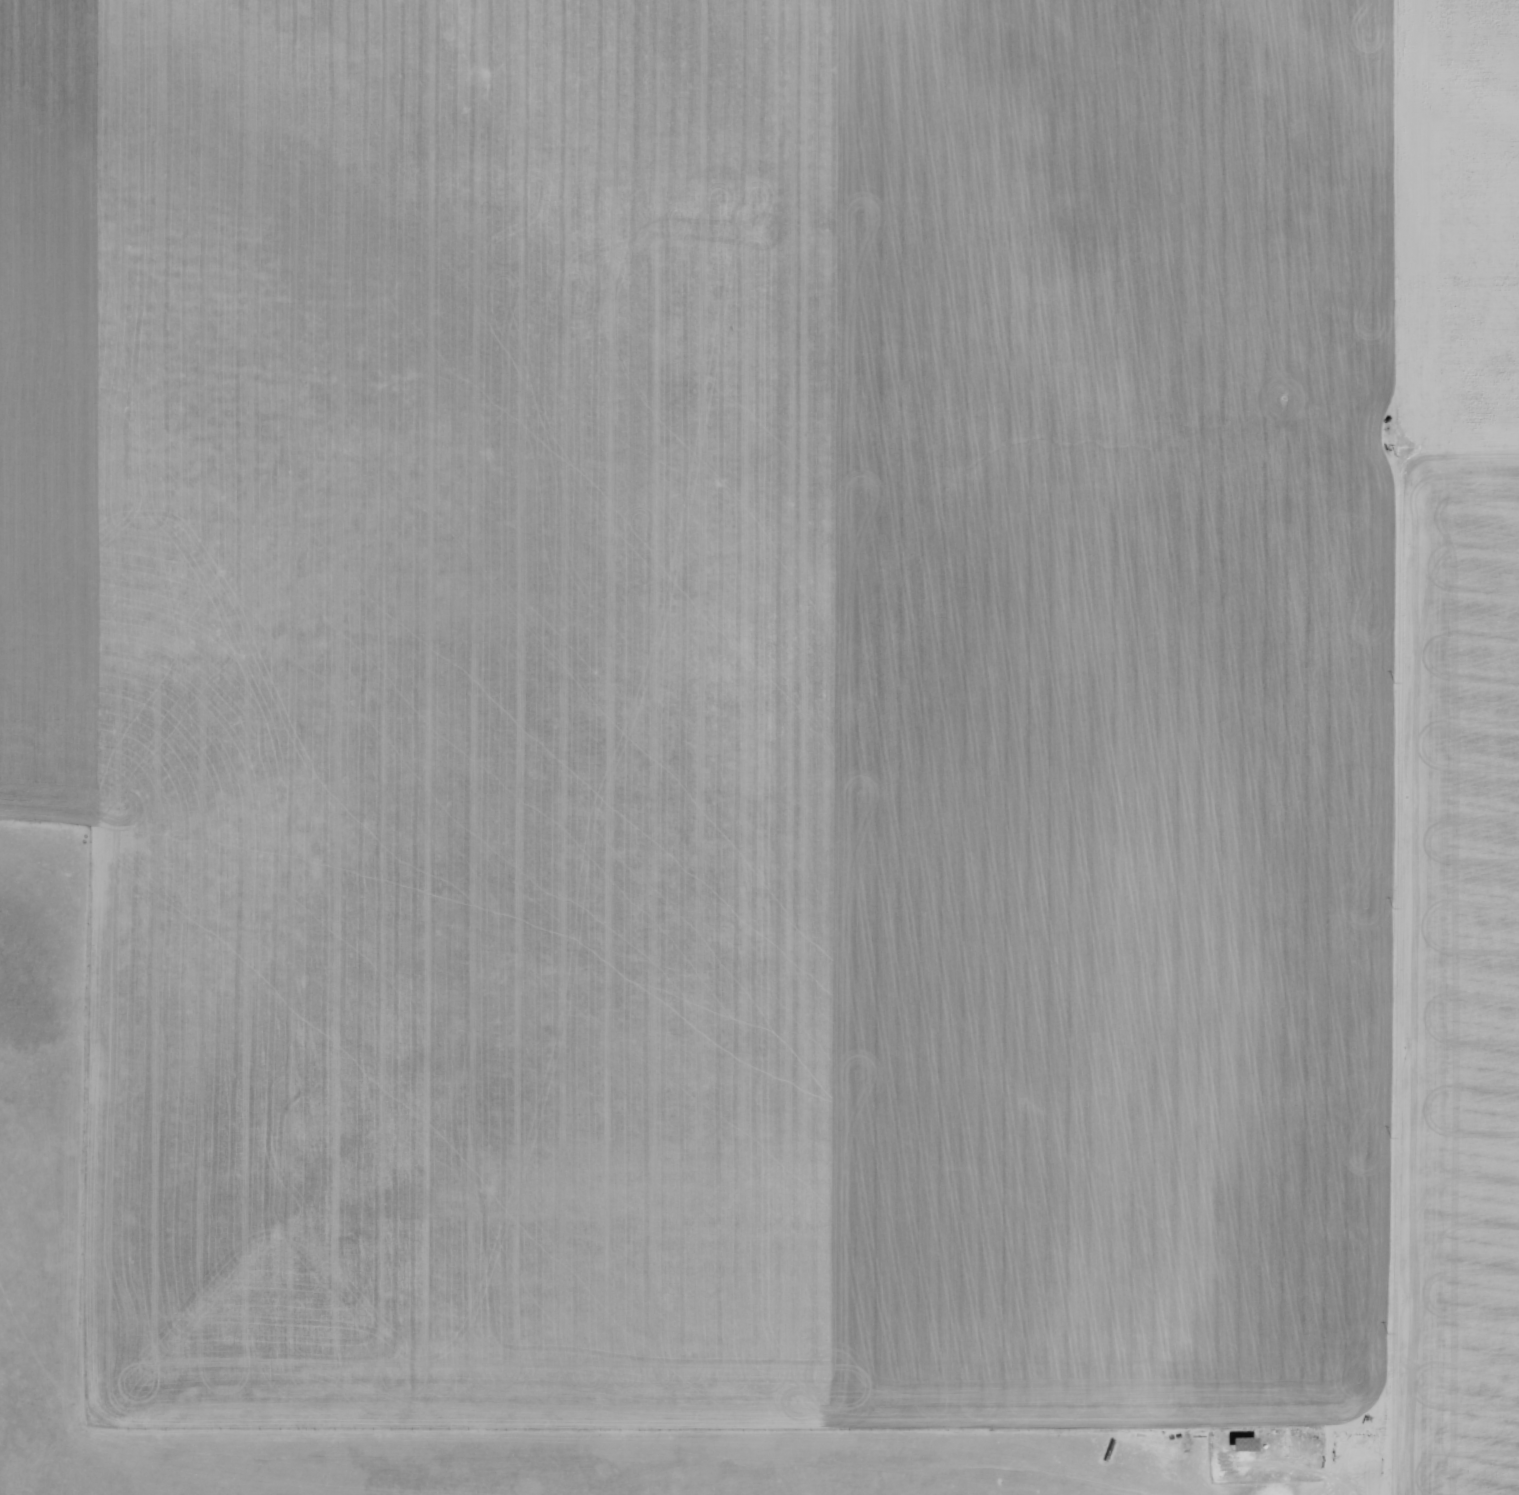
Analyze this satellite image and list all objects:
road: (1115, 482)
road: (1410, 747)
road: (1457, 1426)
building: (1241, 1443)

